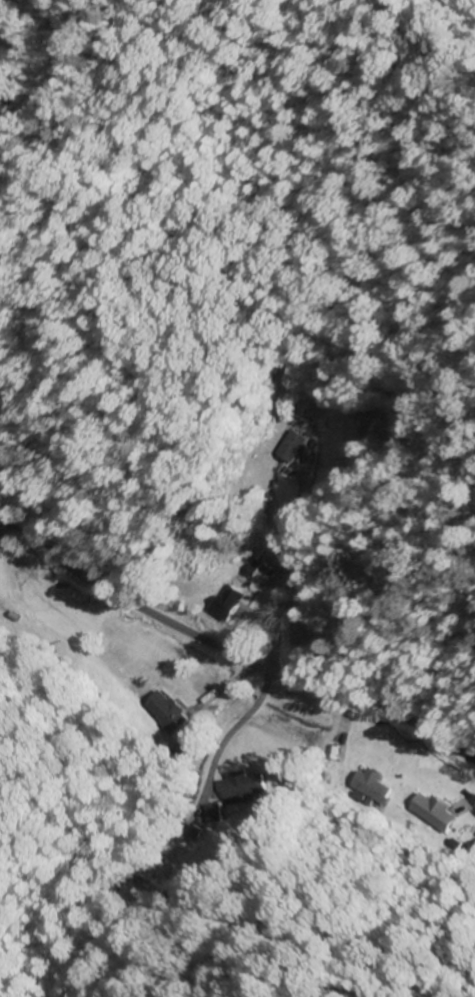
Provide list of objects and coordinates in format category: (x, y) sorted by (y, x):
building: (287, 447)
building: (226, 604)
road: (231, 659)
building: (165, 710)
building: (242, 787)
building: (370, 790)
building: (445, 813)
building: (472, 831)

